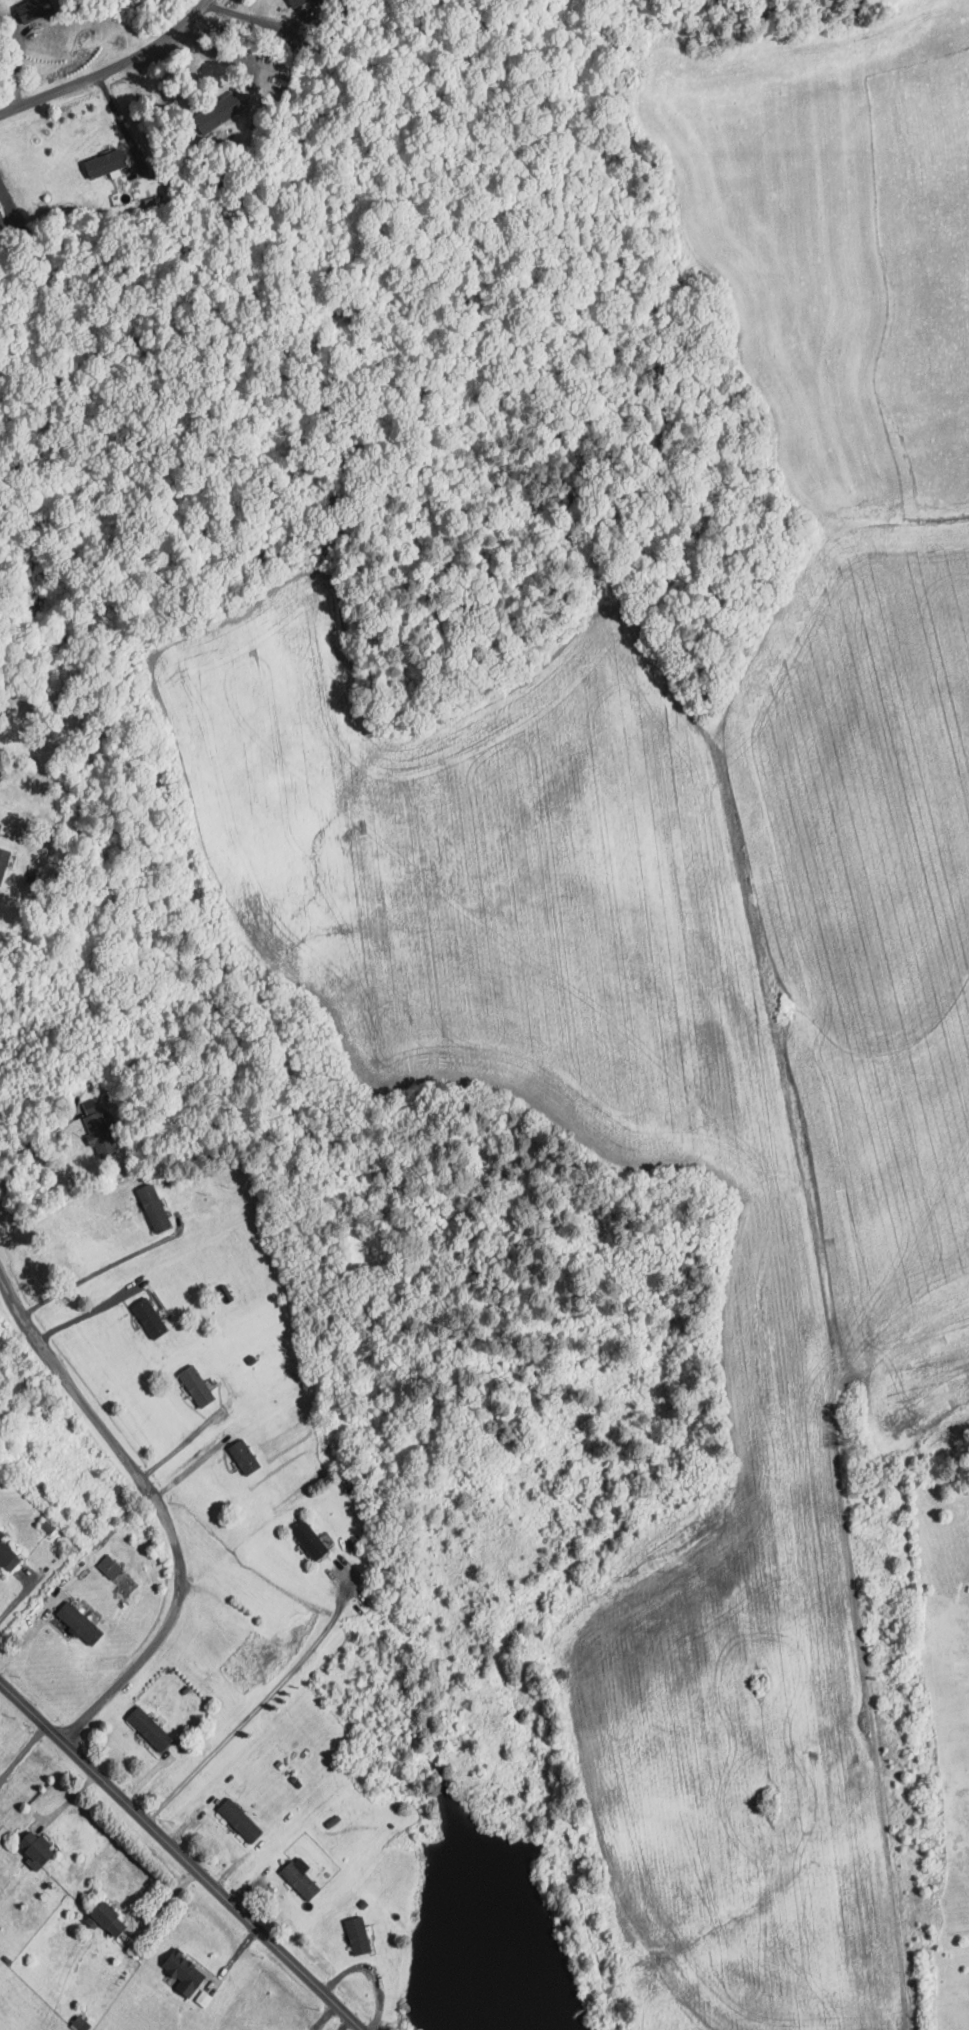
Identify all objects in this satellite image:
building: (297, 2)
road: (263, 22)
road: (226, 55)
road: (113, 66)
road: (120, 122)
building: (107, 163)
road: (8, 201)
building: (1, 204)
building: (5, 863)
road: (37, 1136)
building: (109, 1147)
building: (155, 1207)
road: (106, 1267)
road: (86, 1312)
building: (152, 1317)
building: (200, 1385)
building: (246, 1456)
road: (191, 1468)
road: (157, 1509)
building: (313, 1539)
building: (9, 1554)
building: (112, 1566)
road: (19, 1598)
building: (84, 1623)
road: (28, 1633)
road: (263, 1699)
building: (152, 1728)
road: (22, 1753)
building: (243, 1820)
building: (40, 1849)
road: (181, 1855)
building: (303, 1877)
road: (165, 1903)
building: (112, 1919)
building: (361, 1935)
building: (188, 1972)
building: (82, 2023)
road: (346, 2024)

